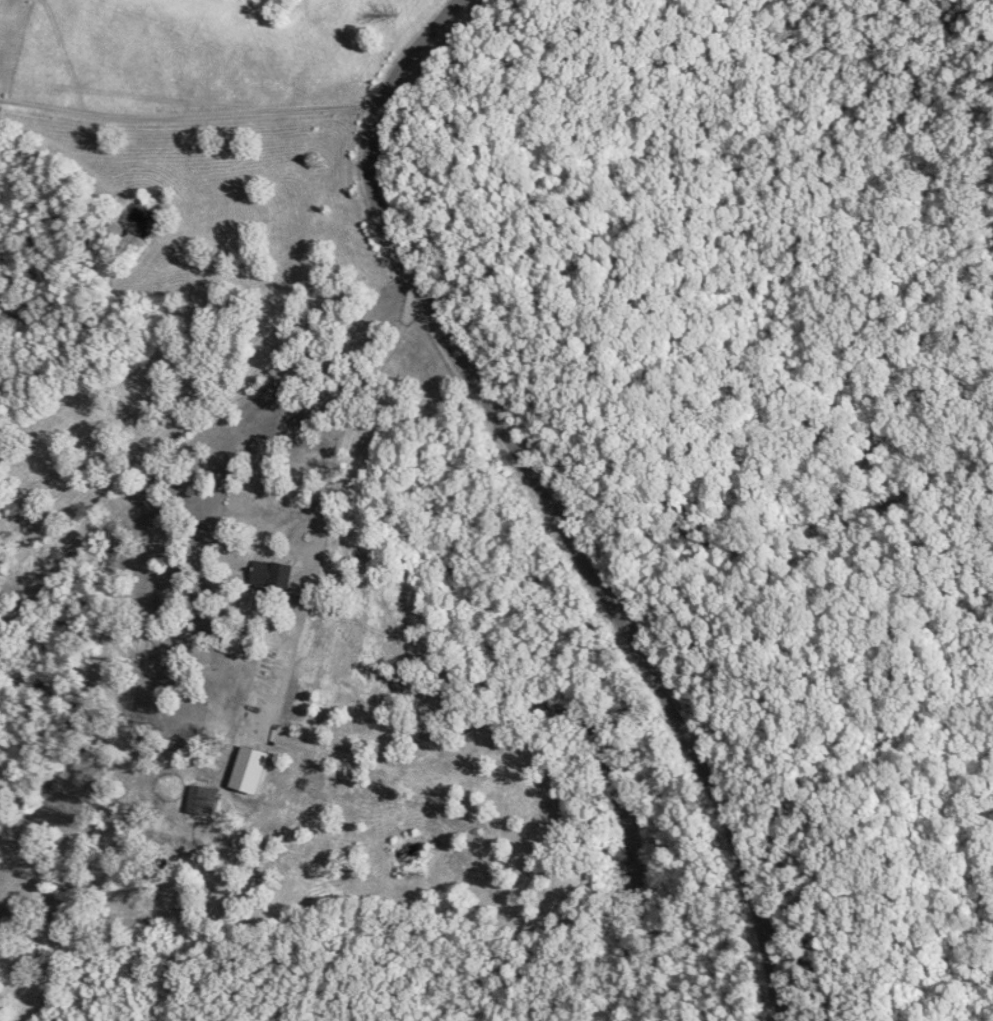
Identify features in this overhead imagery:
road: (192, 114)
road: (367, 402)
road: (549, 499)
building: (278, 574)
building: (255, 770)
building: (206, 800)
road: (816, 969)

